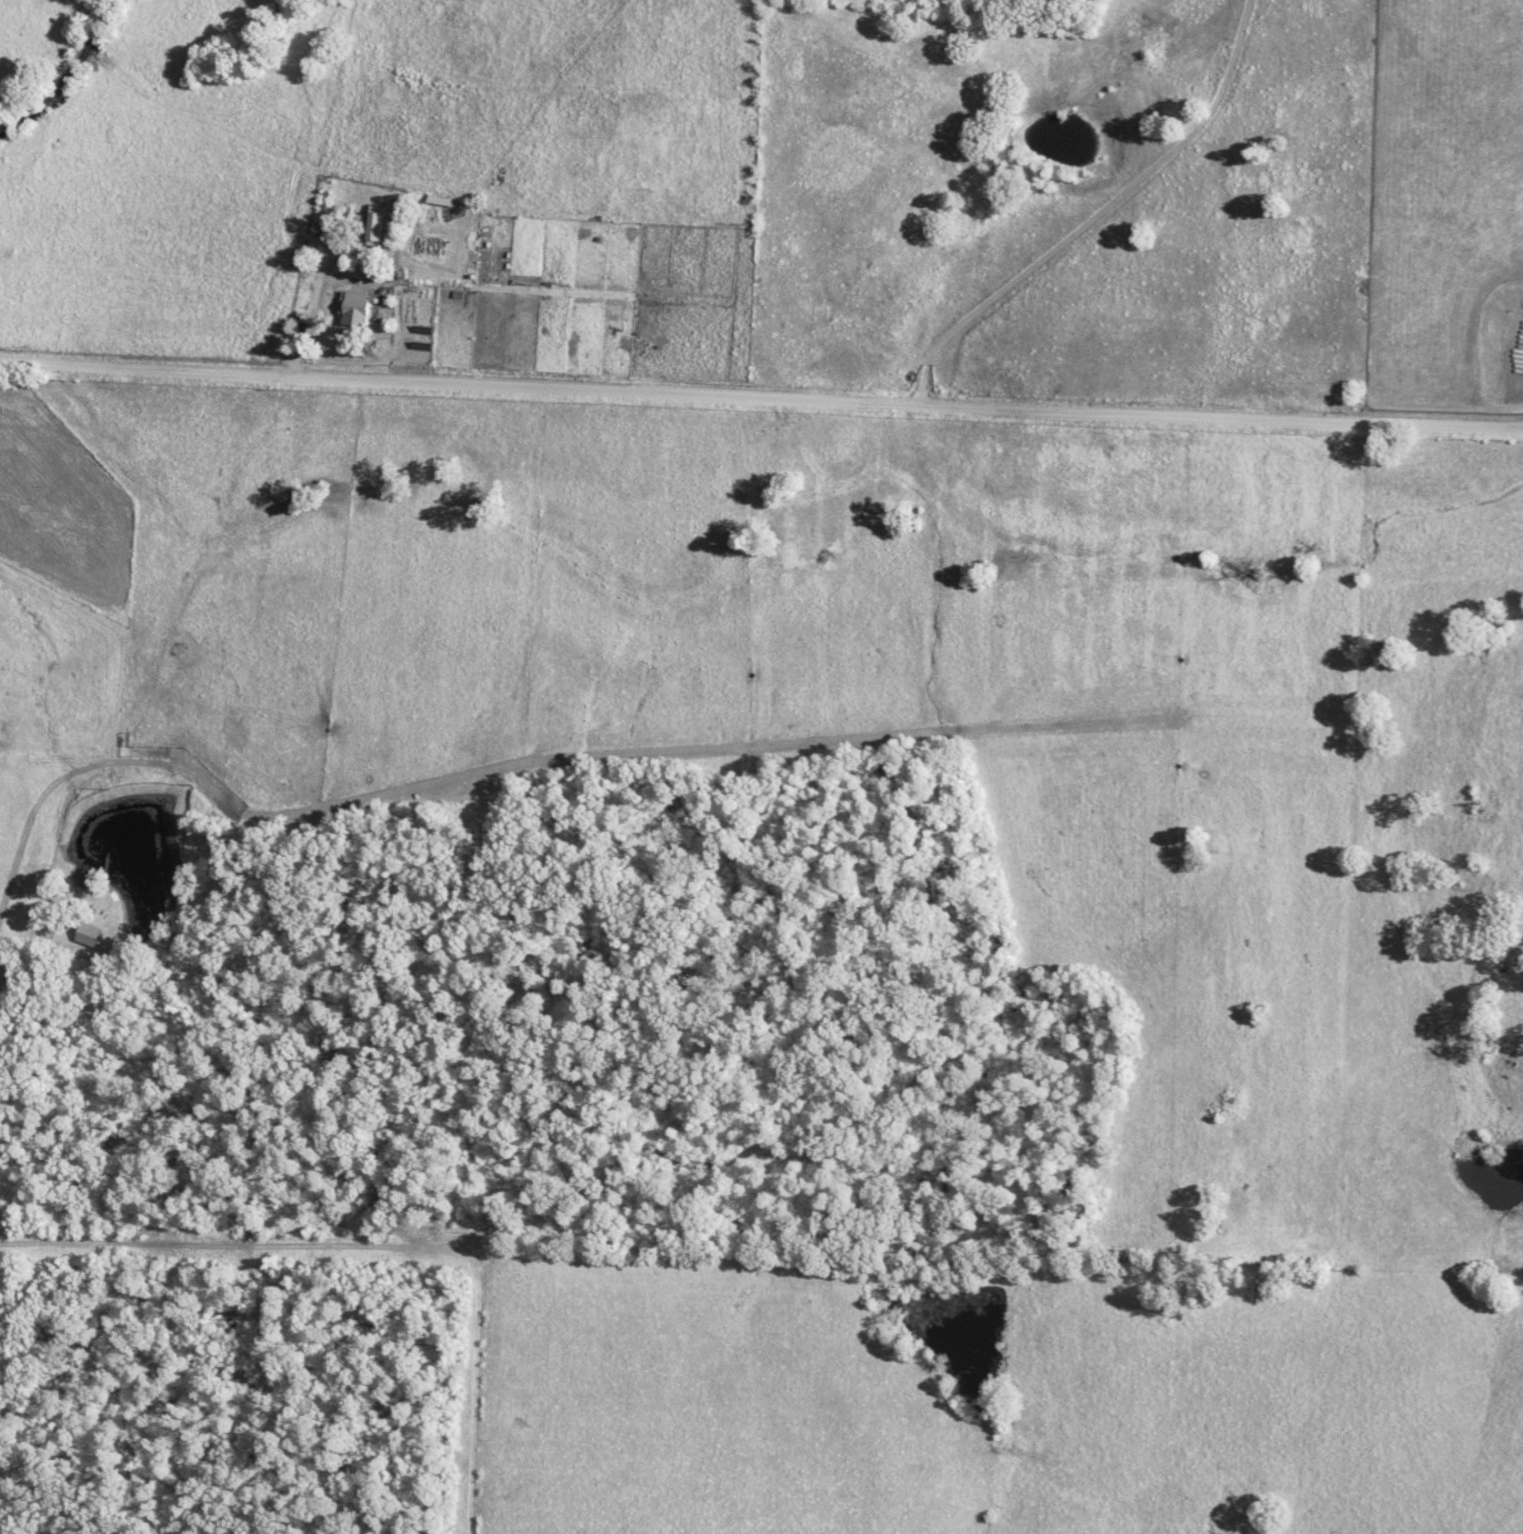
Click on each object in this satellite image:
road: (56, 94)
road: (1100, 216)
building: (377, 225)
building: (431, 244)
building: (354, 306)
road: (313, 309)
road: (761, 399)
building: (182, 680)
road: (389, 1243)

